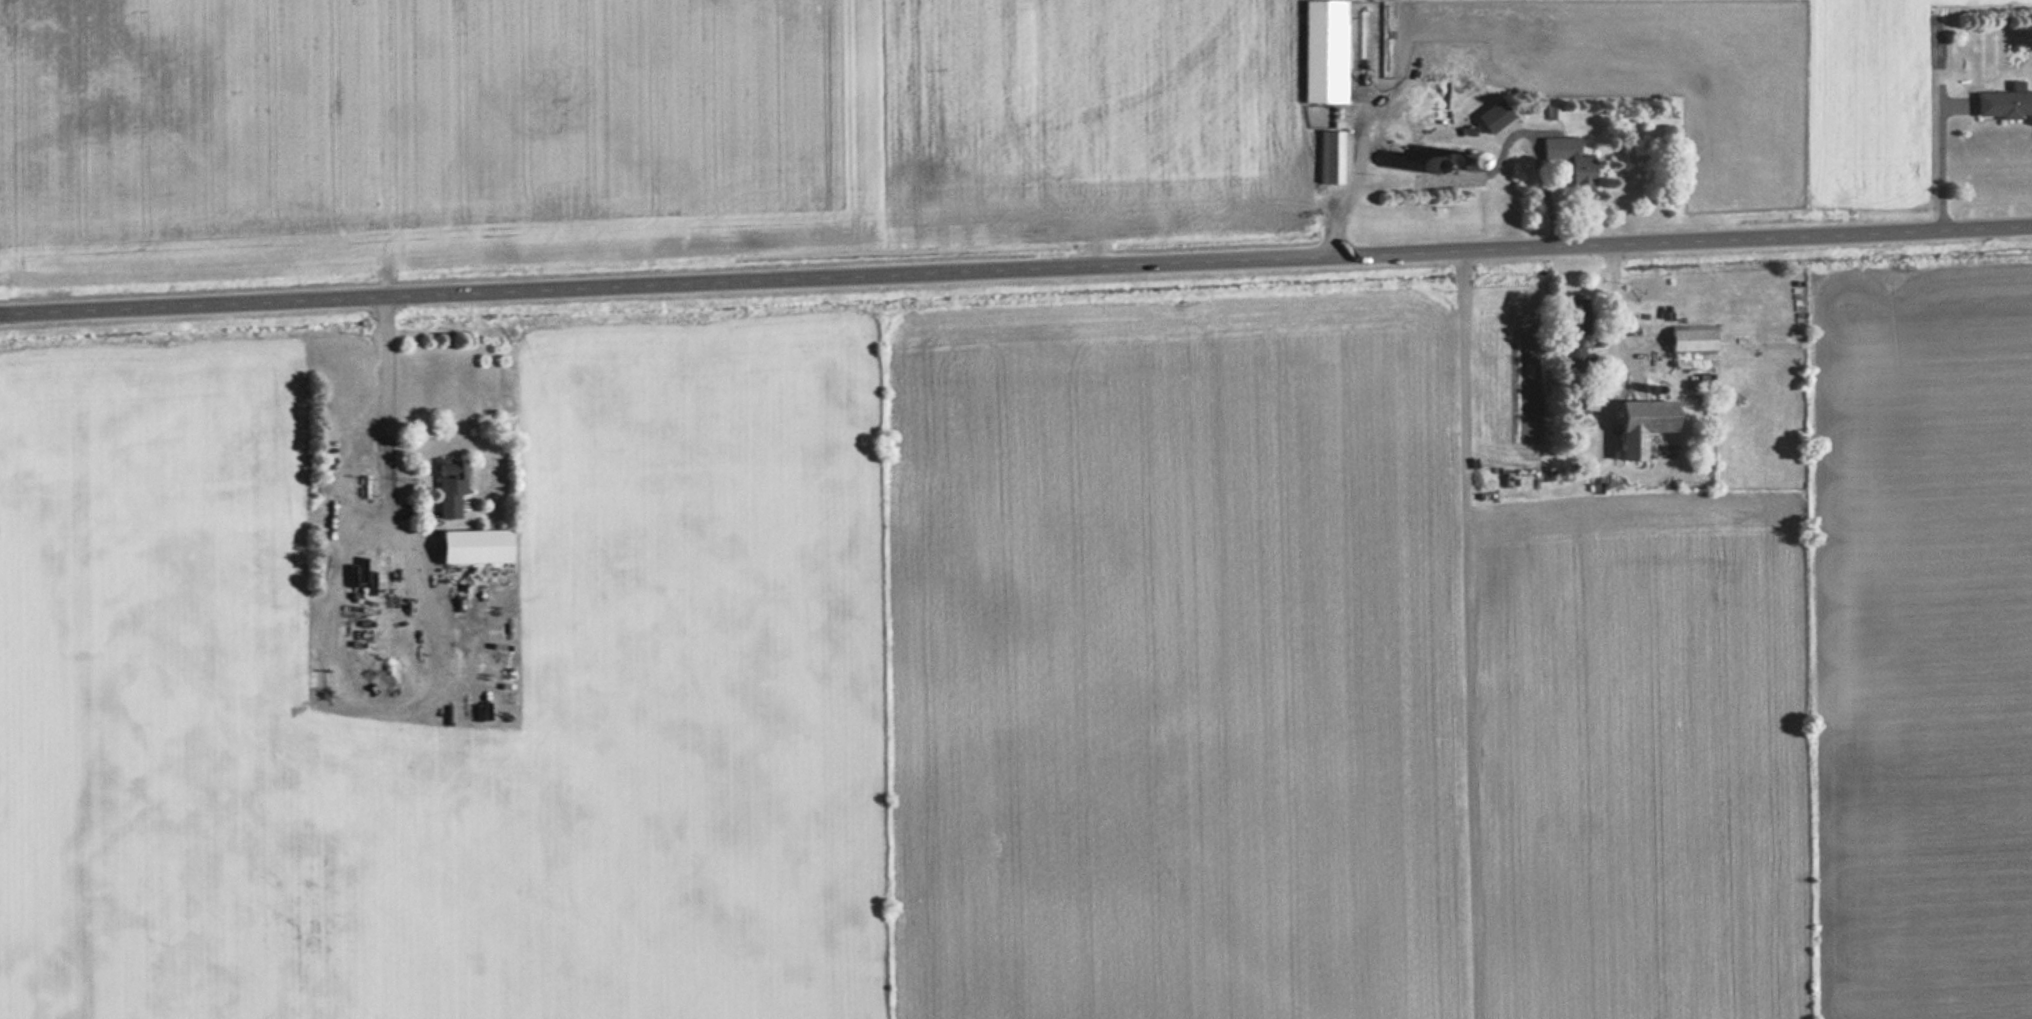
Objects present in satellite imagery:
building: (1324, 55)
building: (2005, 102)
building: (1555, 109)
building: (1497, 115)
building: (1331, 157)
building: (1571, 159)
road: (1016, 271)
building: (1575, 334)
building: (1693, 340)
building: (1645, 425)
building: (450, 488)
building: (476, 547)

